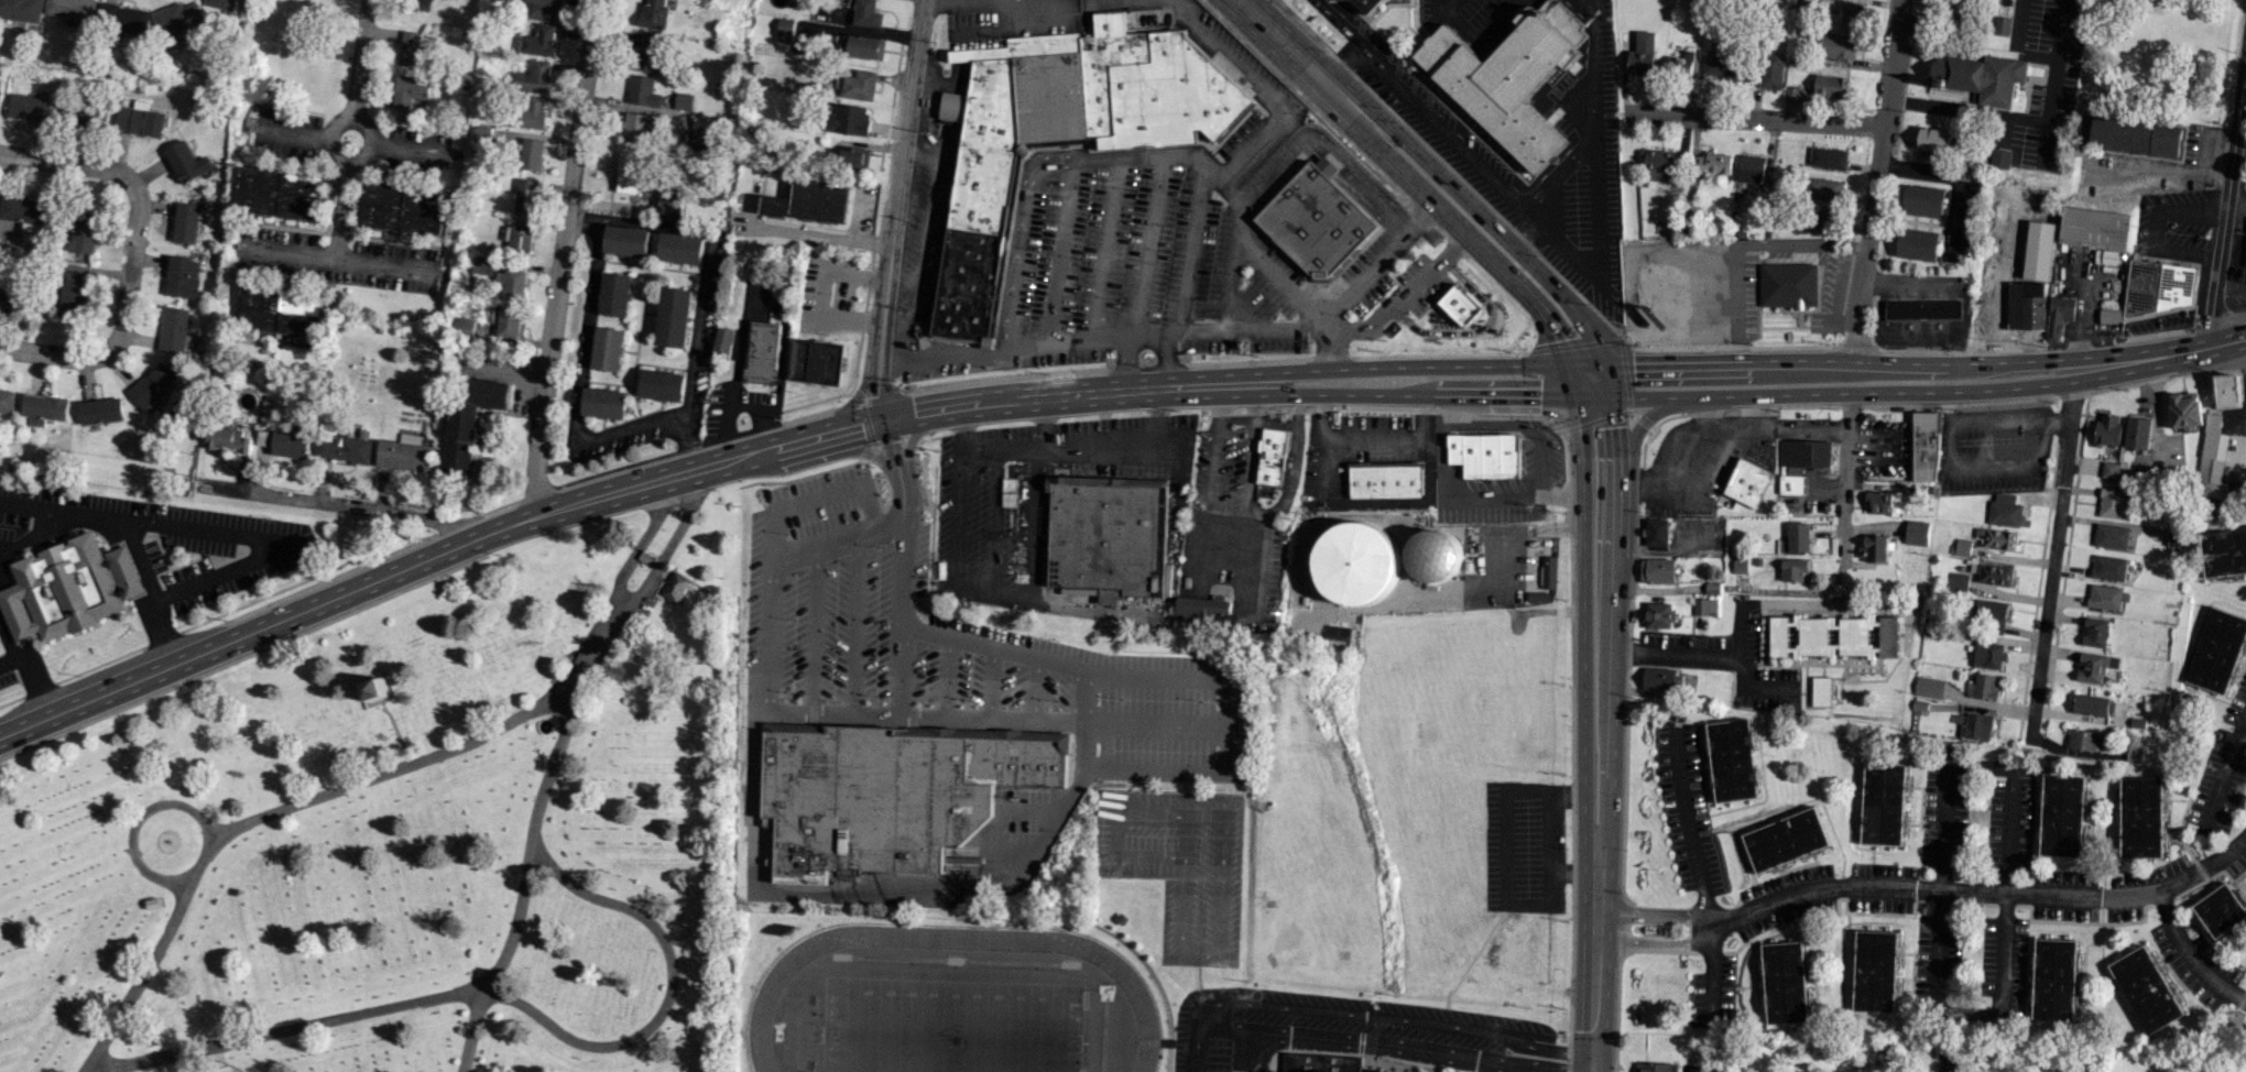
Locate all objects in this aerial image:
road: (972, 1)
building: (219, 3)
building: (421, 4)
road: (1001, 4)
building: (1369, 4)
building: (72, 9)
building: (543, 9)
building: (21, 10)
building: (652, 13)
building: (866, 13)
building: (129, 18)
building: (178, 19)
road: (366, 19)
road: (1338, 24)
building: (2002, 24)
building: (805, 33)
building: (539, 41)
road: (1282, 43)
building: (1838, 45)
building: (862, 46)
road: (2015, 46)
building: (415, 51)
building: (1642, 53)
building: (651, 54)
road: (1229, 58)
building: (1725, 66)
road: (1344, 67)
building: (1770, 69)
building: (537, 76)
building: (1982, 76)
building: (1508, 79)
building: (855, 84)
building: (408, 90)
building: (642, 91)
building: (683, 100)
building: (29, 107)
building: (87, 111)
building: (534, 112)
building: (849, 119)
building: (139, 120)
road: (1754, 120)
road: (2028, 120)
building: (636, 127)
building: (1060, 129)
road: (1446, 130)
building: (700, 132)
building: (482, 133)
road: (1262, 133)
building: (2134, 135)
building: (1933, 139)
road: (351, 142)
road: (2205, 147)
building: (531, 154)
building: (854, 156)
building: (186, 162)
building: (1657, 163)
building: (1712, 163)
road: (64, 164)
building: (1749, 167)
building: (629, 173)
road: (1562, 173)
road: (2158, 175)
road: (1363, 177)
road: (1598, 177)
road: (898, 178)
road: (1875, 179)
road: (344, 188)
building: (281, 194)
road: (2225, 195)
building: (525, 196)
building: (1923, 199)
building: (809, 203)
building: (668, 204)
building: (402, 209)
building: (24, 211)
road: (1238, 211)
road: (1417, 212)
road: (1475, 212)
road: (1534, 216)
building: (1317, 219)
building: (186, 222)
road: (2155, 229)
building: (2096, 230)
building: (85, 231)
road: (796, 233)
road: (1526, 234)
road: (1018, 236)
road: (1460, 236)
building: (517, 238)
building: (626, 241)
road: (923, 241)
road: (1793, 244)
building: (1918, 244)
road: (1142, 245)
road: (1855, 247)
building: (680, 248)
road: (1103, 249)
road: (1058, 252)
road: (563, 259)
road: (382, 265)
building: (482, 265)
road: (1366, 273)
building: (183, 276)
road: (1187, 276)
road: (700, 282)
building: (513, 284)
building: (1786, 284)
building: (2157, 286)
road: (1225, 287)
building: (615, 294)
building: (74, 295)
road: (1834, 296)
building: (12, 299)
road: (1400, 299)
road: (1733, 302)
building: (1460, 306)
building: (1923, 308)
building: (280, 310)
building: (2030, 310)
road: (1245, 311)
building: (2059, 314)
road: (122, 316)
building: (674, 317)
building: (509, 321)
building: (464, 325)
building: (173, 330)
road: (1478, 330)
road: (1246, 331)
road: (1145, 341)
traffic signals: (1553, 341)
road: (2226, 341)
building: (723, 342)
road: (1014, 348)
building: (609, 349)
building: (763, 352)
road: (2224, 357)
road: (892, 358)
road: (2139, 359)
road: (1646, 361)
building: (816, 362)
traffic signals: (1632, 362)
road: (1902, 362)
road: (1125, 365)
road: (1410, 367)
road: (580, 381)
building: (152, 385)
building: (662, 385)
road: (876, 389)
building: (2227, 391)
road: (1825, 392)
road: (1095, 393)
road: (1417, 395)
traffic signals: (1539, 397)
road: (854, 398)
building: (604, 403)
building: (42, 409)
road: (1452, 409)
building: (2183, 409)
building: (99, 411)
road: (1705, 417)
building: (164, 419)
traffic signals: (885, 419)
road: (879, 420)
building: (470, 423)
road: (1517, 424)
traffic signals: (1616, 426)
road: (1638, 427)
building: (2107, 429)
building: (2137, 431)
road: (1439, 437)
building: (227, 438)
road: (909, 438)
road: (1369, 438)
building: (290, 444)
road: (890, 445)
road: (1693, 445)
building: (346, 447)
building: (1925, 447)
road: (1087, 448)
road: (861, 451)
building: (1484, 452)
building: (402, 456)
building: (1271, 457)
road: (1211, 459)
building: (2111, 470)
building: (1384, 479)
road: (1845, 481)
building: (1748, 482)
road: (1553, 493)
road: (1471, 499)
road: (1377, 501)
building: (2115, 503)
road: (339, 505)
road: (797, 506)
road: (1258, 510)
building: (2004, 510)
road: (995, 521)
building: (1917, 532)
road: (229, 533)
building: (1657, 534)
building: (1101, 535)
building: (2112, 535)
building: (1799, 537)
building: (1997, 538)
building: (2176, 539)
building: (1961, 547)
building: (1876, 548)
building: (1433, 554)
storage tank: (1433, 554)
road: (2052, 556)
building: (1355, 561)
storage tank: (1355, 561)
building: (1757, 561)
building: (1740, 566)
road: (406, 567)
road: (1261, 567)
building: (2108, 568)
building: (1657, 570)
building: (1792, 570)
building: (1550, 571)
building: (1995, 575)
building: (1959, 581)
road: (1168, 586)
road: (1, 587)
building: (675, 587)
building: (1712, 588)
building: (67, 589)
road: (1003, 593)
building: (1539, 595)
building: (2107, 598)
road: (625, 604)
road: (1813, 605)
building: (1704, 606)
building: (1202, 610)
road: (1617, 611)
building: (1988, 613)
road: (13, 615)
building: (1658, 615)
street lamp: (794, 619)
road: (855, 620)
road: (814, 625)
road: (1584, 628)
road: (1741, 632)
building: (2095, 632)
building: (1820, 636)
building: (1888, 636)
road: (25, 649)
building: (2217, 649)
road: (1714, 654)
building: (1987, 655)
building: (2094, 667)
road: (33, 674)
road: (946, 676)
building: (1662, 679)
road: (989, 682)
building: (1928, 686)
road: (1034, 688)
building: (1982, 688)
building: (375, 690)
building: (1820, 691)
road: (1079, 692)
street lamp: (874, 696)
flagpole: (840, 701)
building: (1919, 705)
building: (2092, 705)
road: (808, 710)
road: (1149, 722)
building: (1976, 726)
road: (2240, 731)
building: (2084, 740)
road: (1221, 746)
building: (2134, 754)
building: (1732, 759)
road: (2224, 766)
road: (390, 770)
building: (891, 794)
building: (1883, 805)
road: (143, 811)
building: (2063, 816)
building: (2141, 818)
park: (407, 831)
road: (530, 839)
building: (1786, 839)
road: (2204, 867)
road: (1696, 873)
road: (859, 886)
road: (2002, 895)
building: (2220, 910)
road: (1653, 915)
road: (1653, 942)
road: (1593, 964)
building: (1875, 971)
road: (140, 976)
building: (2056, 978)
building: (1785, 982)
building: (2147, 989)
road: (670, 993)
track: (1135, 998)
road: (1938, 1011)
park: (949, 1021)
road: (1219, 1024)
park: (949, 1025)
road: (288, 1028)
road: (1563, 1049)
building: (1323, 1061)
traffic signals: (1592, 1061)
building: (1656, 1066)
road: (1517, 1069)
building: (1261, 1071)

